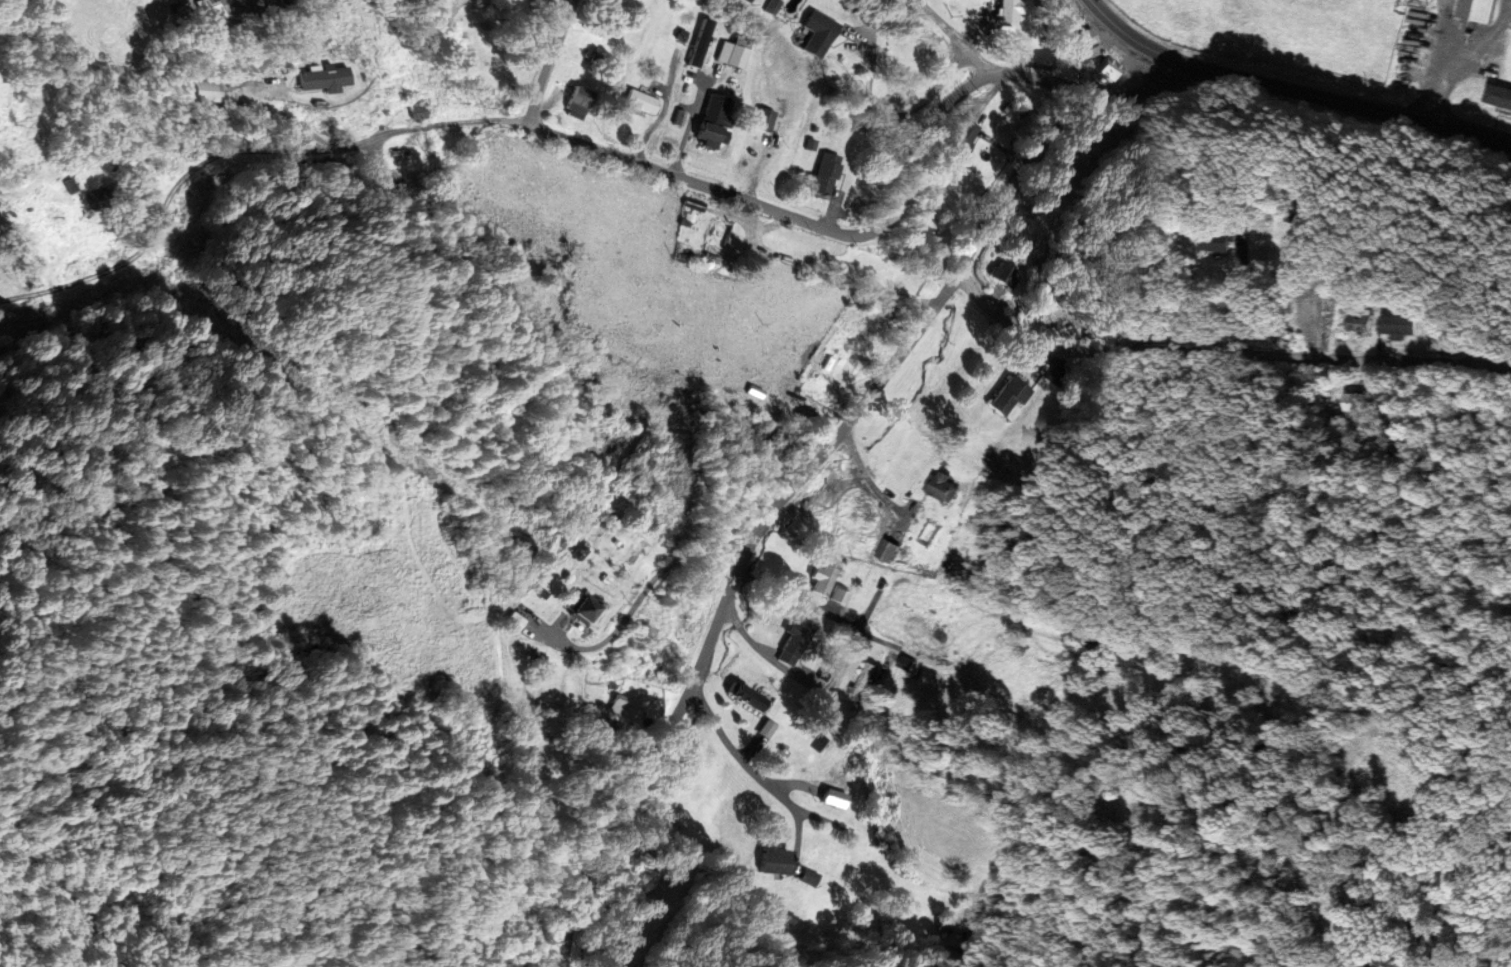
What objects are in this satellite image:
building: (744, 1)
road: (569, 6)
building: (446, 8)
building: (1483, 10)
building: (1009, 11)
building: (818, 34)
road: (954, 36)
building: (1088, 42)
road: (1154, 50)
building: (733, 52)
road: (549, 62)
building: (1104, 75)
building: (325, 79)
building: (1500, 95)
building: (580, 99)
building: (641, 102)
road: (90, 108)
road: (1372, 109)
building: (764, 120)
building: (715, 122)
road: (575, 141)
building: (960, 142)
building: (219, 173)
building: (825, 176)
building: (101, 199)
building: (927, 238)
building: (1224, 239)
building: (716, 241)
building: (1004, 275)
building: (1311, 317)
building: (1365, 320)
road: (320, 322)
building: (1403, 326)
road: (1218, 352)
building: (754, 392)
building: (1009, 396)
building: (1357, 402)
road: (823, 451)
building: (945, 486)
road: (593, 495)
building: (889, 550)
building: (828, 581)
road: (647, 584)
building: (583, 608)
building: (515, 621)
building: (794, 642)
road: (919, 659)
road: (778, 664)
building: (866, 682)
building: (748, 697)
building: (626, 705)
road: (748, 770)
building: (833, 798)
building: (775, 861)
building: (809, 877)

